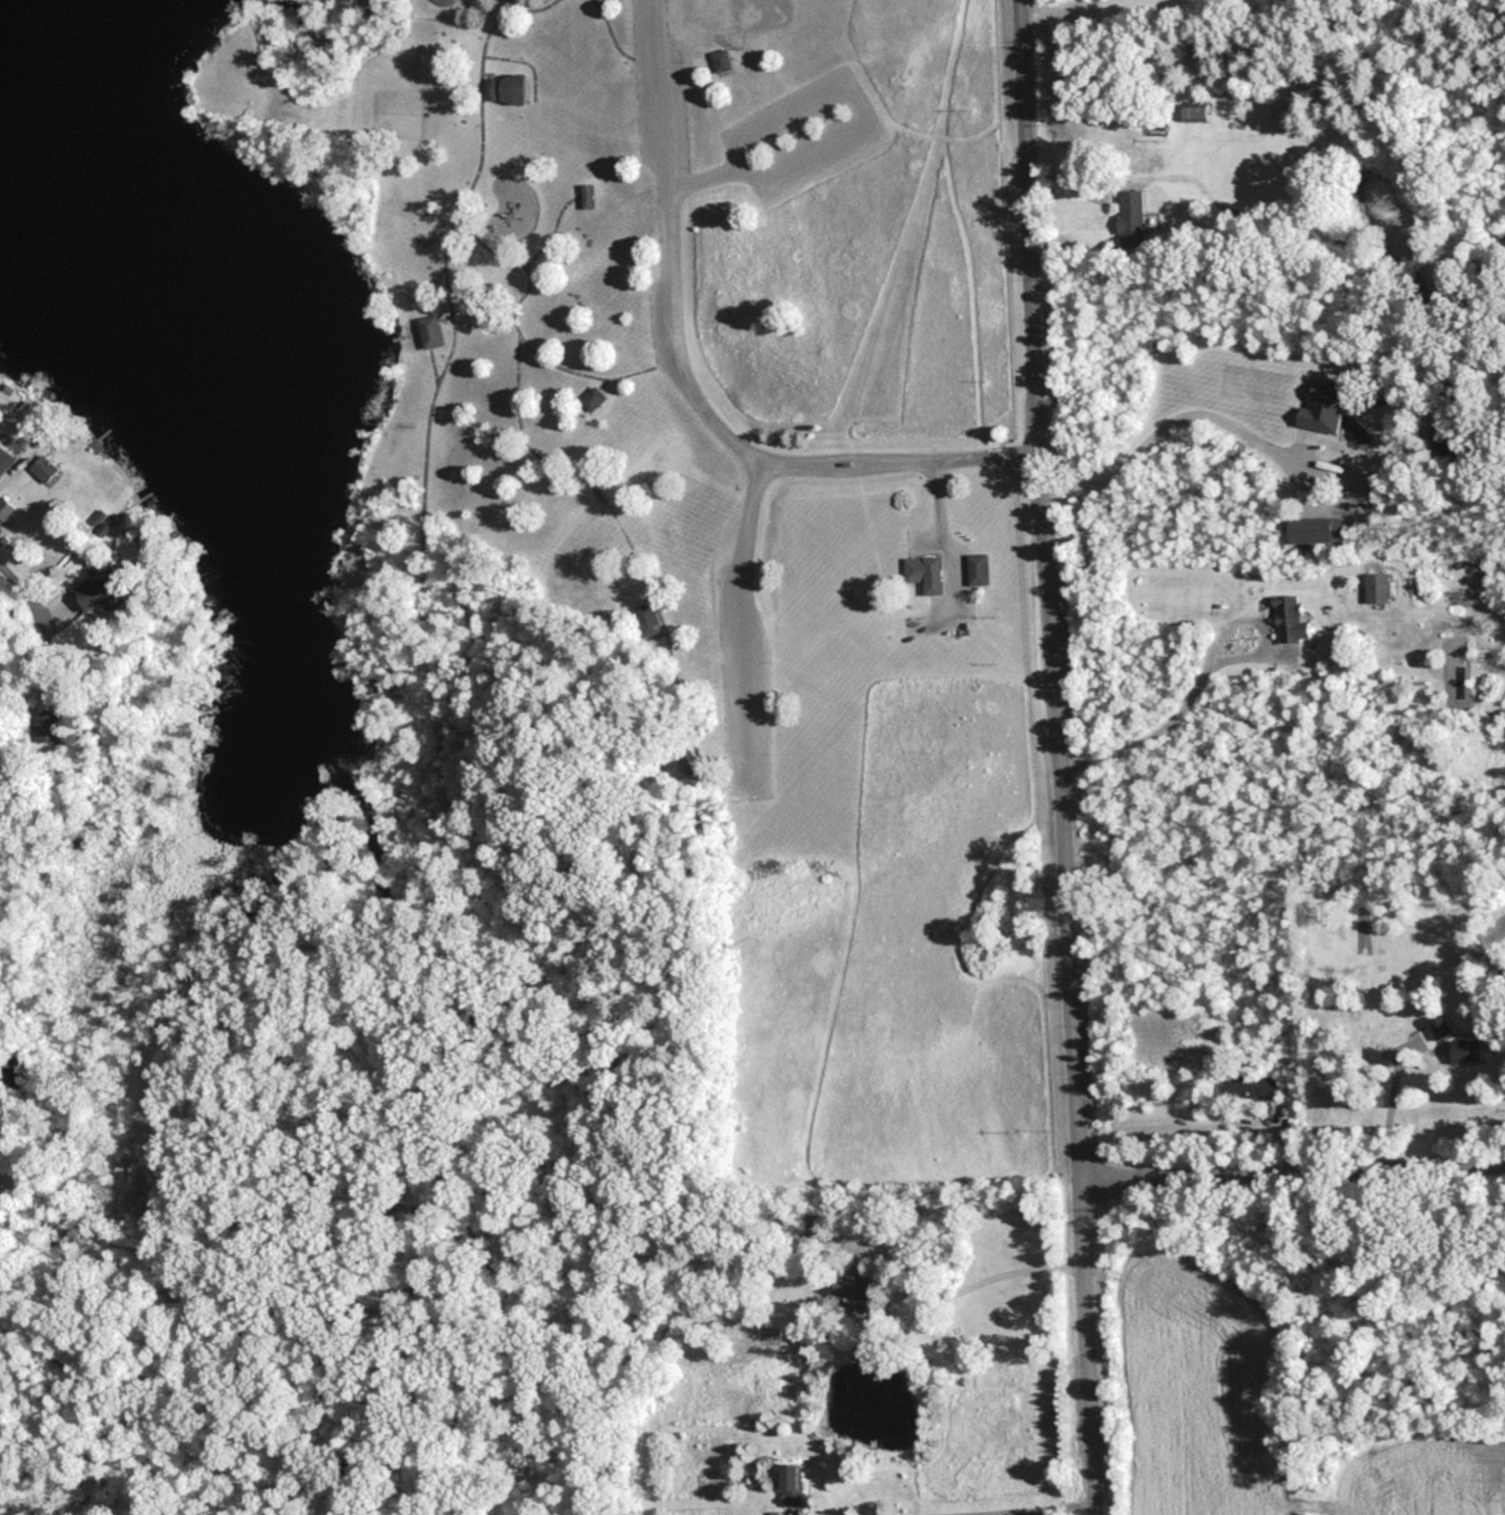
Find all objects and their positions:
water park: (452, 2)
park: (764, 14)
road: (614, 26)
road: (490, 39)
building: (725, 49)
building: (723, 60)
building: (507, 88)
park: (386, 93)
building: (1197, 113)
parking lot: (793, 128)
building: (590, 185)
building: (1131, 213)
road: (529, 238)
road: (1035, 261)
road: (446, 270)
building: (429, 318)
building: (429, 332)
road: (552, 351)
road: (690, 378)
building: (596, 387)
building: (593, 399)
road: (1186, 406)
building: (6, 455)
road: (570, 460)
building: (46, 469)
park: (742, 481)
building: (8, 509)
road: (750, 511)
road: (948, 526)
building: (984, 562)
building: (928, 563)
building: (1378, 588)
building: (98, 593)
road: (42, 599)
building: (655, 615)
building: (1291, 619)
parking lot: (753, 628)
road: (1206, 663)
building: (49, 727)
road: (1076, 1018)
building: (1459, 1044)
building: (1253, 1087)
road: (1295, 1162)
road: (1012, 1269)
building: (854, 1290)
building: (792, 1484)
road: (1010, 1507)

